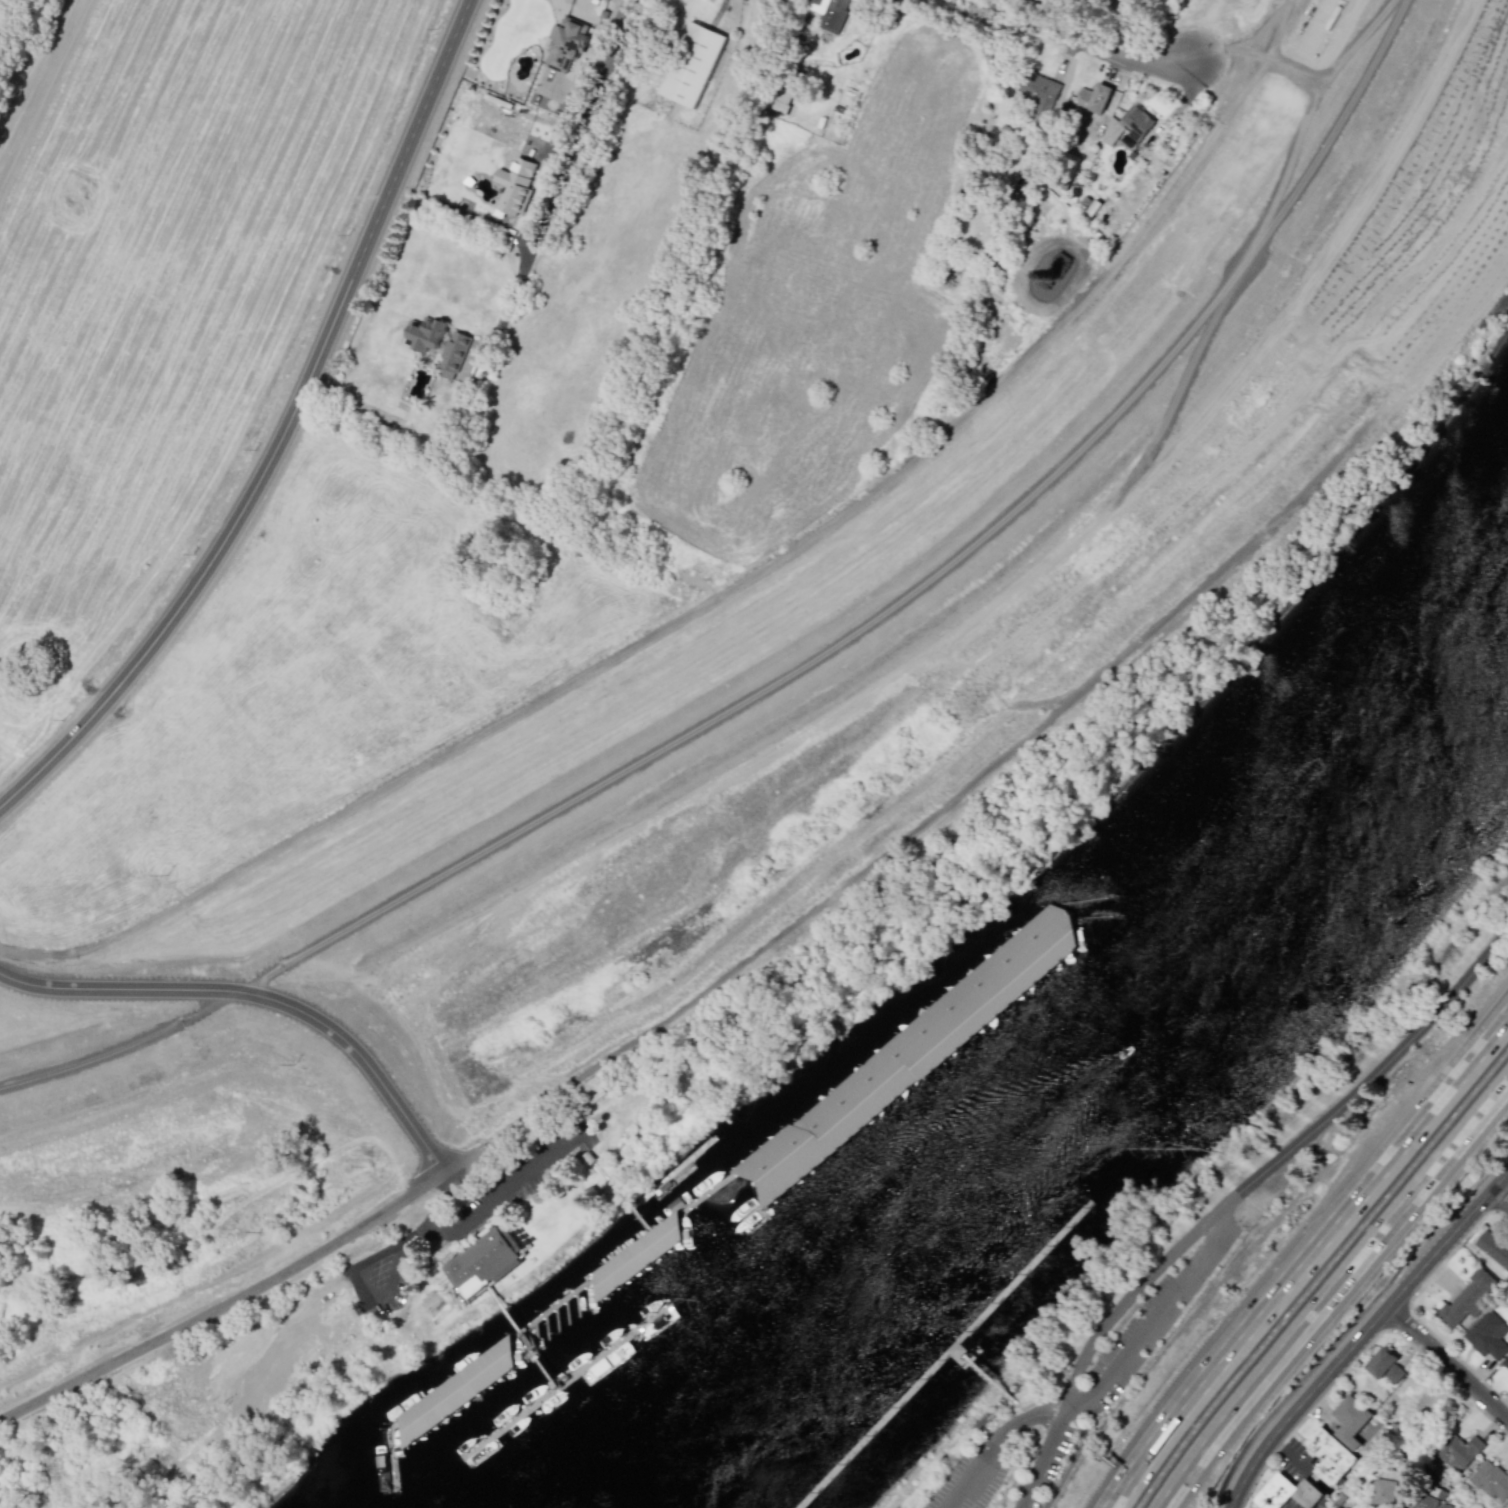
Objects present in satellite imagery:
building: (830, 12)
building: (567, 44)
building: (692, 64)
road: (1165, 68)
building: (1038, 91)
road: (1356, 95)
building: (782, 97)
building: (1093, 98)
building: (1129, 126)
road: (561, 173)
building: (1026, 178)
building: (514, 186)
building: (1059, 261)
road: (1105, 277)
building: (425, 333)
building: (452, 357)
road: (282, 431)
building: (1062, 947)
road: (259, 994)
river: (1093, 1095)
building: (780, 1140)
parking lot: (526, 1166)
pier: (670, 1171)
road: (506, 1184)
road: (610, 1185)
road: (1232, 1195)
road: (1497, 1198)
pier: (638, 1220)
road: (428, 1225)
building: (1493, 1248)
building: (636, 1256)
road: (1306, 1258)
building: (484, 1259)
pier: (613, 1259)
road: (1333, 1293)
road: (240, 1295)
building: (1468, 1298)
road: (504, 1310)
parking lot: (1150, 1325)
road: (1360, 1332)
building: (1487, 1335)
pier: (527, 1342)
road: (943, 1354)
building: (503, 1355)
road: (1447, 1361)
building: (1505, 1361)
building: (1385, 1365)
road: (541, 1367)
pier: (564, 1380)
road: (994, 1383)
road: (1099, 1386)
building: (426, 1413)
building: (1351, 1420)
building: (1459, 1451)
building: (1329, 1455)
road: (1041, 1461)
building: (1491, 1481)
building: (1391, 1489)
building: (1287, 1493)
building: (1430, 1502)
building: (1506, 1506)
building: (1342, 1507)

